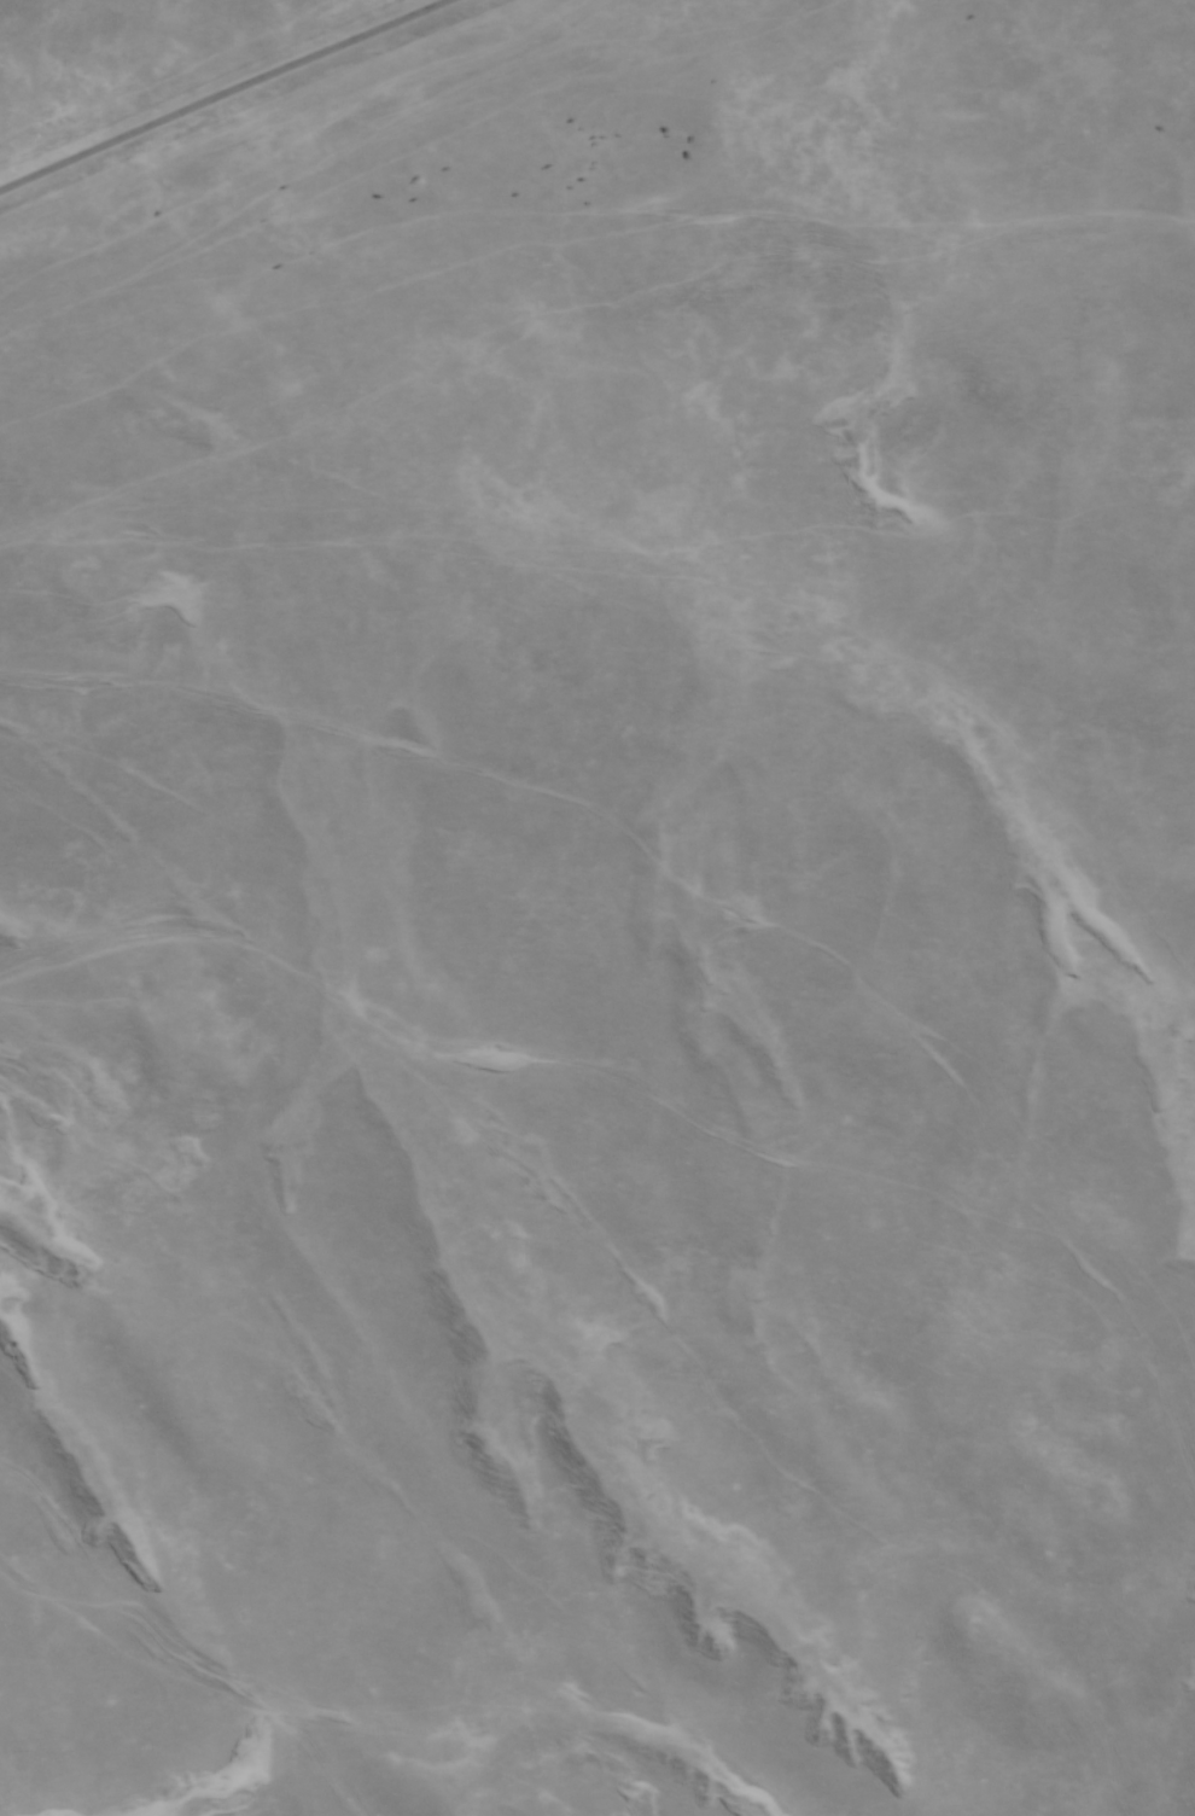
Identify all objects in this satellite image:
road: (225, 94)

